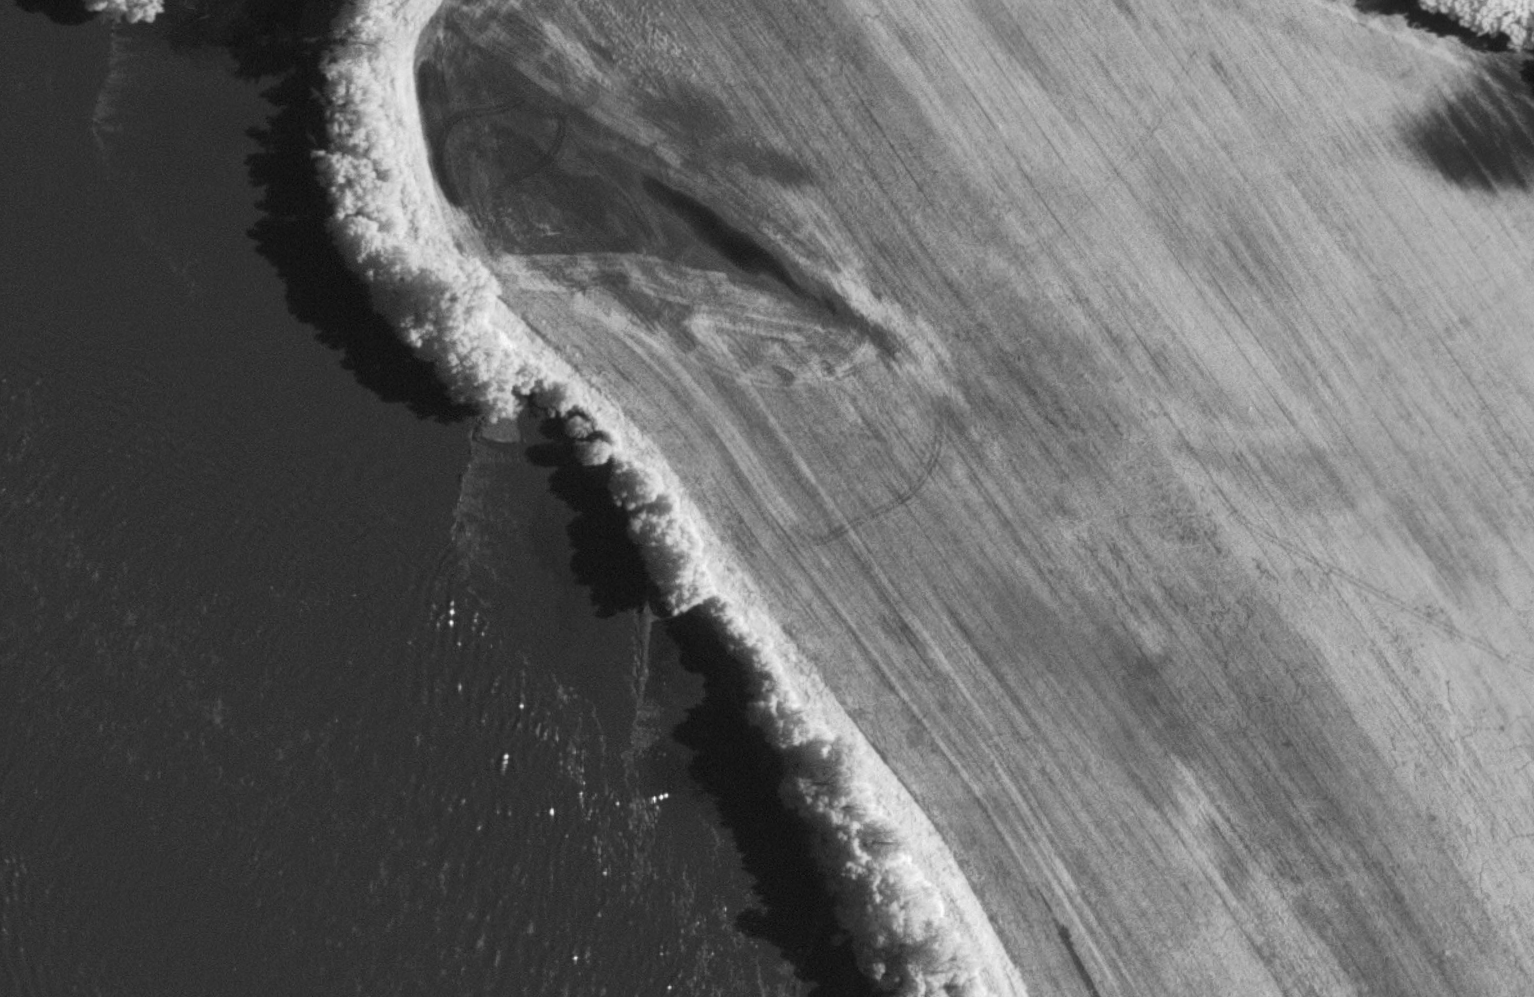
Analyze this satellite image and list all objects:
river: (138, 154)
crop: (1086, 429)
river: (120, 853)

